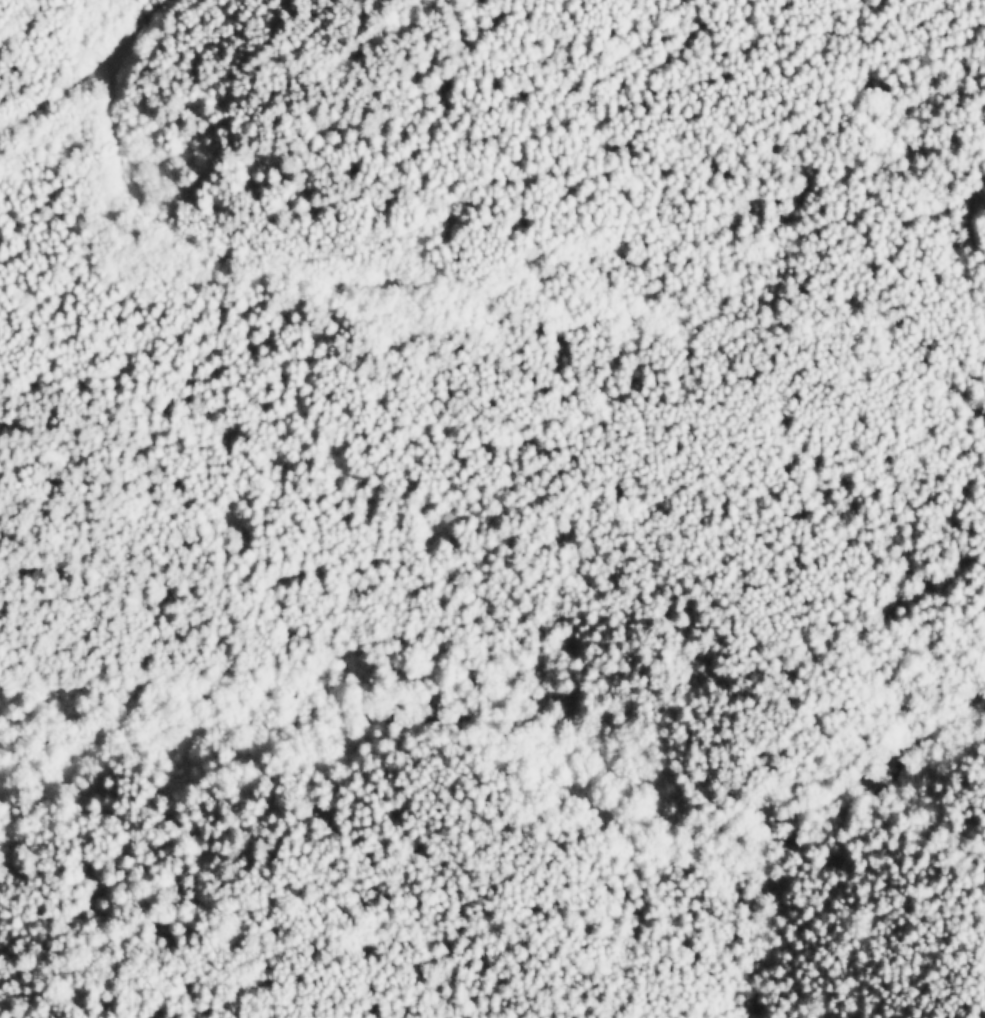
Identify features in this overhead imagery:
road: (392, 21)
road: (84, 71)
road: (211, 256)

